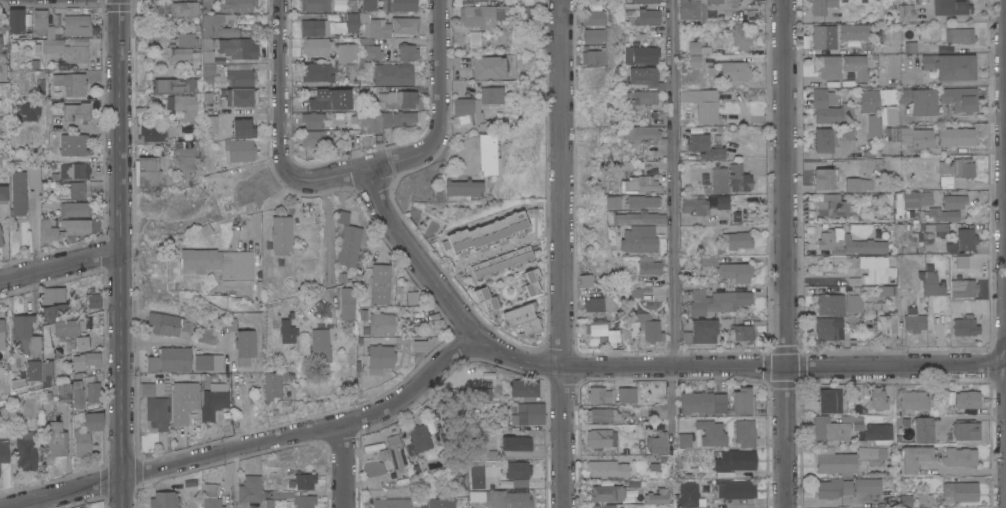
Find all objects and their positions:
building: (204, 1)
building: (640, 1)
building: (713, 2)
building: (236, 5)
building: (315, 5)
building: (350, 5)
building: (368, 5)
building: (398, 5)
building: (821, 6)
building: (951, 7)
building: (183, 9)
building: (689, 9)
building: (630, 10)
building: (711, 10)
building: (524, 12)
building: (906, 13)
building: (479, 15)
building: (647, 16)
building: (595, 17)
building: (14, 20)
building: (352, 22)
building: (404, 24)
building: (41, 25)
building: (75, 25)
building: (208, 26)
building: (375, 26)
building: (317, 28)
building: (854, 32)
building: (597, 35)
building: (960, 35)
building: (641, 36)
building: (741, 36)
building: (824, 36)
building: (474, 39)
building: (185, 40)
building: (370, 40)
building: (79, 41)
building: (204, 43)
building: (910, 45)
building: (52, 46)
building: (317, 46)
building: (236, 47)
building: (697, 48)
building: (346, 52)
building: (370, 52)
building: (408, 52)
building: (75, 54)
building: (182, 54)
building: (640, 54)
building: (205, 56)
building: (596, 56)
building: (695, 61)
building: (488, 66)
building: (855, 66)
building: (950, 66)
building: (828, 67)
building: (206, 69)
building: (4, 70)
building: (735, 70)
building: (317, 71)
building: (711, 71)
building: (195, 72)
building: (394, 73)
building: (645, 77)
building: (241, 78)
building: (205, 79)
building: (71, 83)
building: (175, 85)
building: (490, 95)
building: (205, 97)
building: (239, 97)
building: (644, 97)
building: (388, 98)
building: (959, 98)
building: (340, 99)
building: (918, 100)
building: (168, 103)
building: (703, 103)
building: (187, 106)
road: (440, 106)
building: (830, 107)
building: (27, 110)
building: (76, 111)
building: (469, 111)
building: (887, 112)
building: (337, 115)
building: (387, 118)
building: (403, 118)
road: (972, 118)
building: (352, 119)
building: (370, 122)
building: (210, 124)
building: (242, 128)
building: (648, 128)
building: (312, 129)
building: (158, 133)
building: (845, 133)
building: (912, 136)
building: (955, 136)
building: (823, 140)
building: (72, 144)
building: (704, 147)
building: (186, 148)
building: (240, 150)
building: (485, 153)
building: (186, 163)
building: (631, 165)
building: (958, 167)
building: (73, 170)
building: (149, 172)
road: (341, 175)
building: (33, 176)
building: (704, 176)
building: (739, 178)
building: (719, 180)
building: (857, 180)
building: (945, 182)
building: (638, 184)
road: (673, 184)
building: (460, 187)
building: (73, 190)
building: (17, 192)
building: (3, 194)
building: (642, 201)
building: (612, 202)
building: (722, 202)
building: (953, 202)
building: (911, 203)
building: (832, 205)
building: (694, 206)
building: (46, 208)
building: (74, 209)
building: (941, 214)
road: (204, 215)
building: (342, 217)
building: (639, 218)
building: (63, 228)
building: (860, 229)
building: (203, 230)
building: (0, 233)
building: (280, 234)
building: (486, 234)
building: (967, 237)
building: (737, 240)
building: (1, 241)
building: (638, 241)
building: (847, 243)
building: (348, 245)
road: (786, 253)
road: (121, 254)
road: (563, 254)
building: (708, 260)
building: (500, 262)
building: (962, 262)
building: (218, 263)
road: (60, 266)
building: (648, 266)
building: (872, 267)
building: (735, 271)
building: (339, 278)
building: (588, 280)
building: (530, 281)
building: (380, 283)
building: (931, 284)
building: (189, 286)
building: (963, 287)
building: (887, 290)
building: (636, 292)
building: (412, 297)
building: (853, 299)
building: (487, 300)
building: (92, 301)
building: (720, 302)
building: (50, 303)
building: (345, 303)
building: (600, 304)
building: (830, 304)
building: (415, 317)
building: (522, 318)
building: (915, 319)
building: (167, 324)
building: (232, 324)
building: (381, 324)
building: (884, 325)
building: (965, 325)
building: (648, 326)
building: (827, 327)
building: (286, 330)
building: (597, 330)
building: (703, 331)
building: (66, 332)
building: (741, 332)
building: (2, 333)
building: (25, 333)
building: (206, 334)
building: (612, 335)
building: (685, 337)
road: (172, 341)
building: (82, 344)
building: (244, 346)
building: (318, 346)
building: (419, 346)
building: (379, 358)
building: (170, 359)
building: (85, 360)
building: (208, 362)
road: (736, 368)
building: (30, 370)
building: (45, 373)
building: (272, 384)
building: (289, 386)
building: (63, 389)
building: (147, 389)
building: (524, 389)
building: (92, 392)
building: (479, 393)
building: (76, 394)
building: (594, 394)
building: (46, 396)
building: (878, 398)
building: (913, 399)
building: (967, 399)
building: (828, 400)
building: (184, 401)
road: (671, 401)
building: (743, 401)
building: (283, 402)
building: (696, 402)
building: (213, 403)
building: (719, 403)
building: (157, 413)
building: (530, 413)
building: (657, 413)
building: (603, 415)
building: (92, 421)
building: (834, 426)
building: (966, 429)
building: (923, 430)
building: (879, 431)
building: (745, 432)
building: (711, 433)
building: (600, 438)
building: (54, 439)
building: (417, 440)
building: (684, 440)
building: (80, 443)
building: (514, 443)
building: (657, 443)
road: (254, 446)
building: (25, 450)
building: (381, 450)
building: (3, 451)
building: (489, 454)
building: (396, 455)
building: (869, 455)
building: (915, 457)
building: (960, 457)
building: (737, 459)
building: (835, 461)
road: (345, 466)
building: (609, 467)
building: (518, 470)
building: (477, 475)
building: (302, 481)
building: (192, 485)
building: (868, 485)
building: (707, 486)
building: (736, 488)
building: (833, 488)
building: (210, 489)
building: (249, 489)
building: (961, 491)
building: (610, 492)
building: (265, 494)
building: (280, 494)
building: (689, 494)
building: (657, 496)
building: (476, 497)
building: (510, 499)
building: (164, 500)
building: (906, 500)
building: (925, 500)
building: (304, 501)
building: (212, 503)
building: (268, 503)
building: (390, 503)
building: (442, 503)
building: (603, 506)

